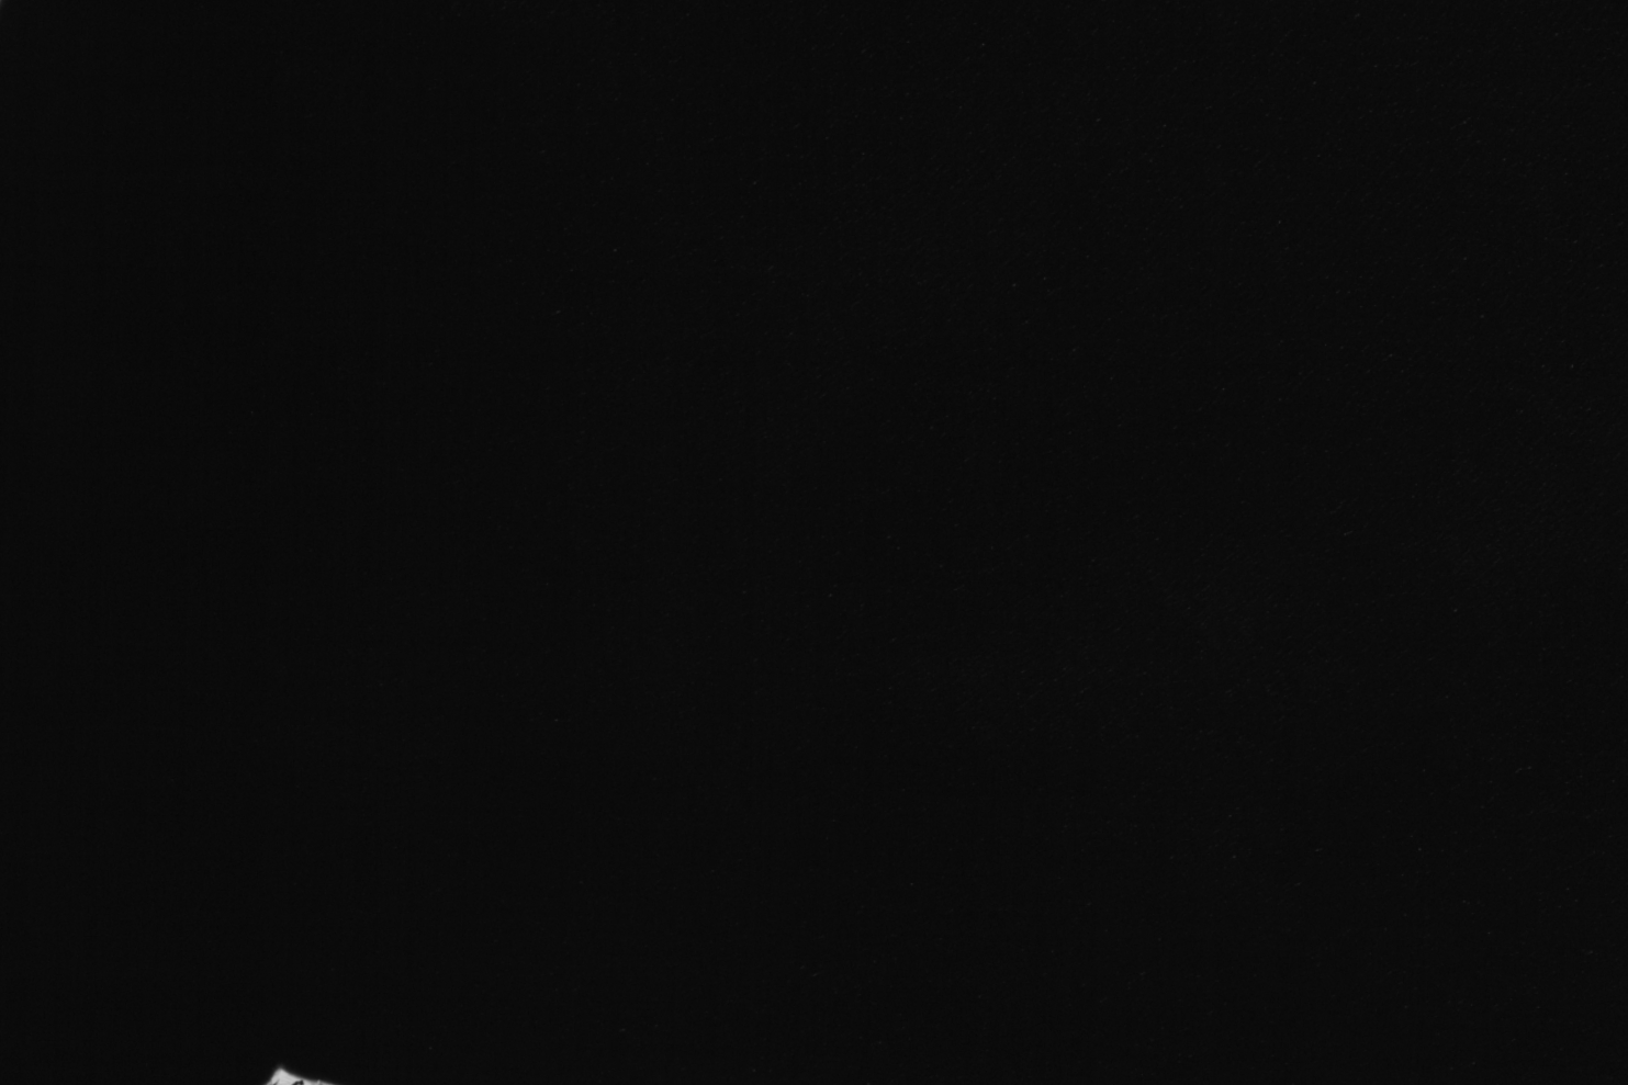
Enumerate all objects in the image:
river: (1529, 88)

